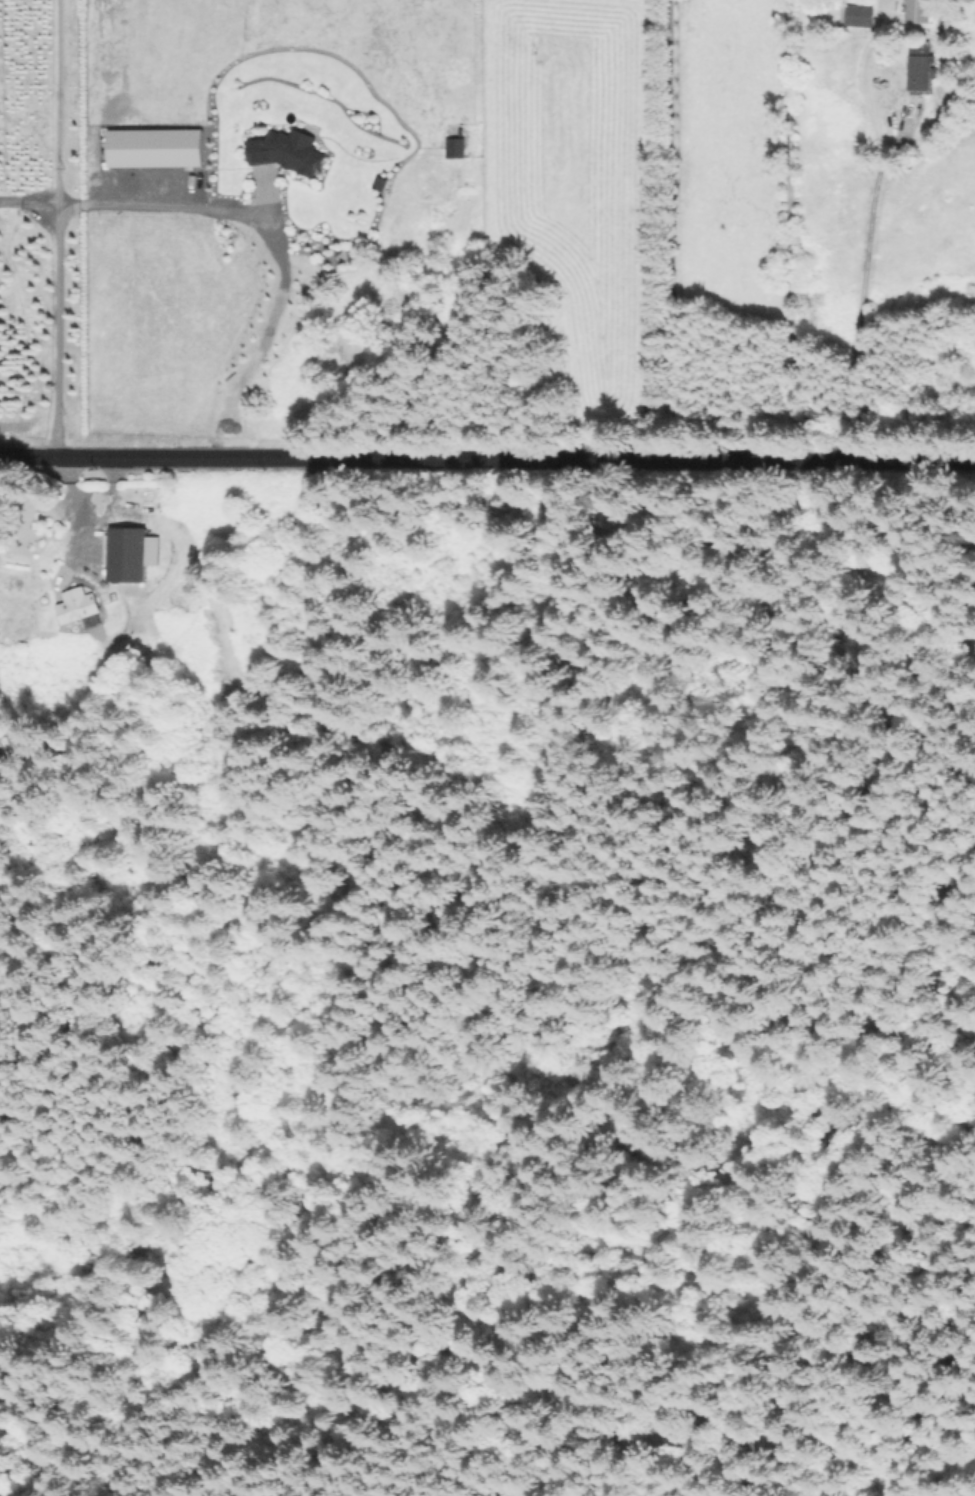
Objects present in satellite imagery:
building: (919, 8)
building: (860, 9)
building: (853, 18)
building: (943, 26)
building: (924, 57)
building: (456, 141)
building: (286, 144)
building: (381, 177)
road: (163, 197)
road: (27, 202)
road: (53, 227)
road: (669, 231)
road: (858, 305)
road: (487, 460)
building: (132, 547)
building: (76, 598)

